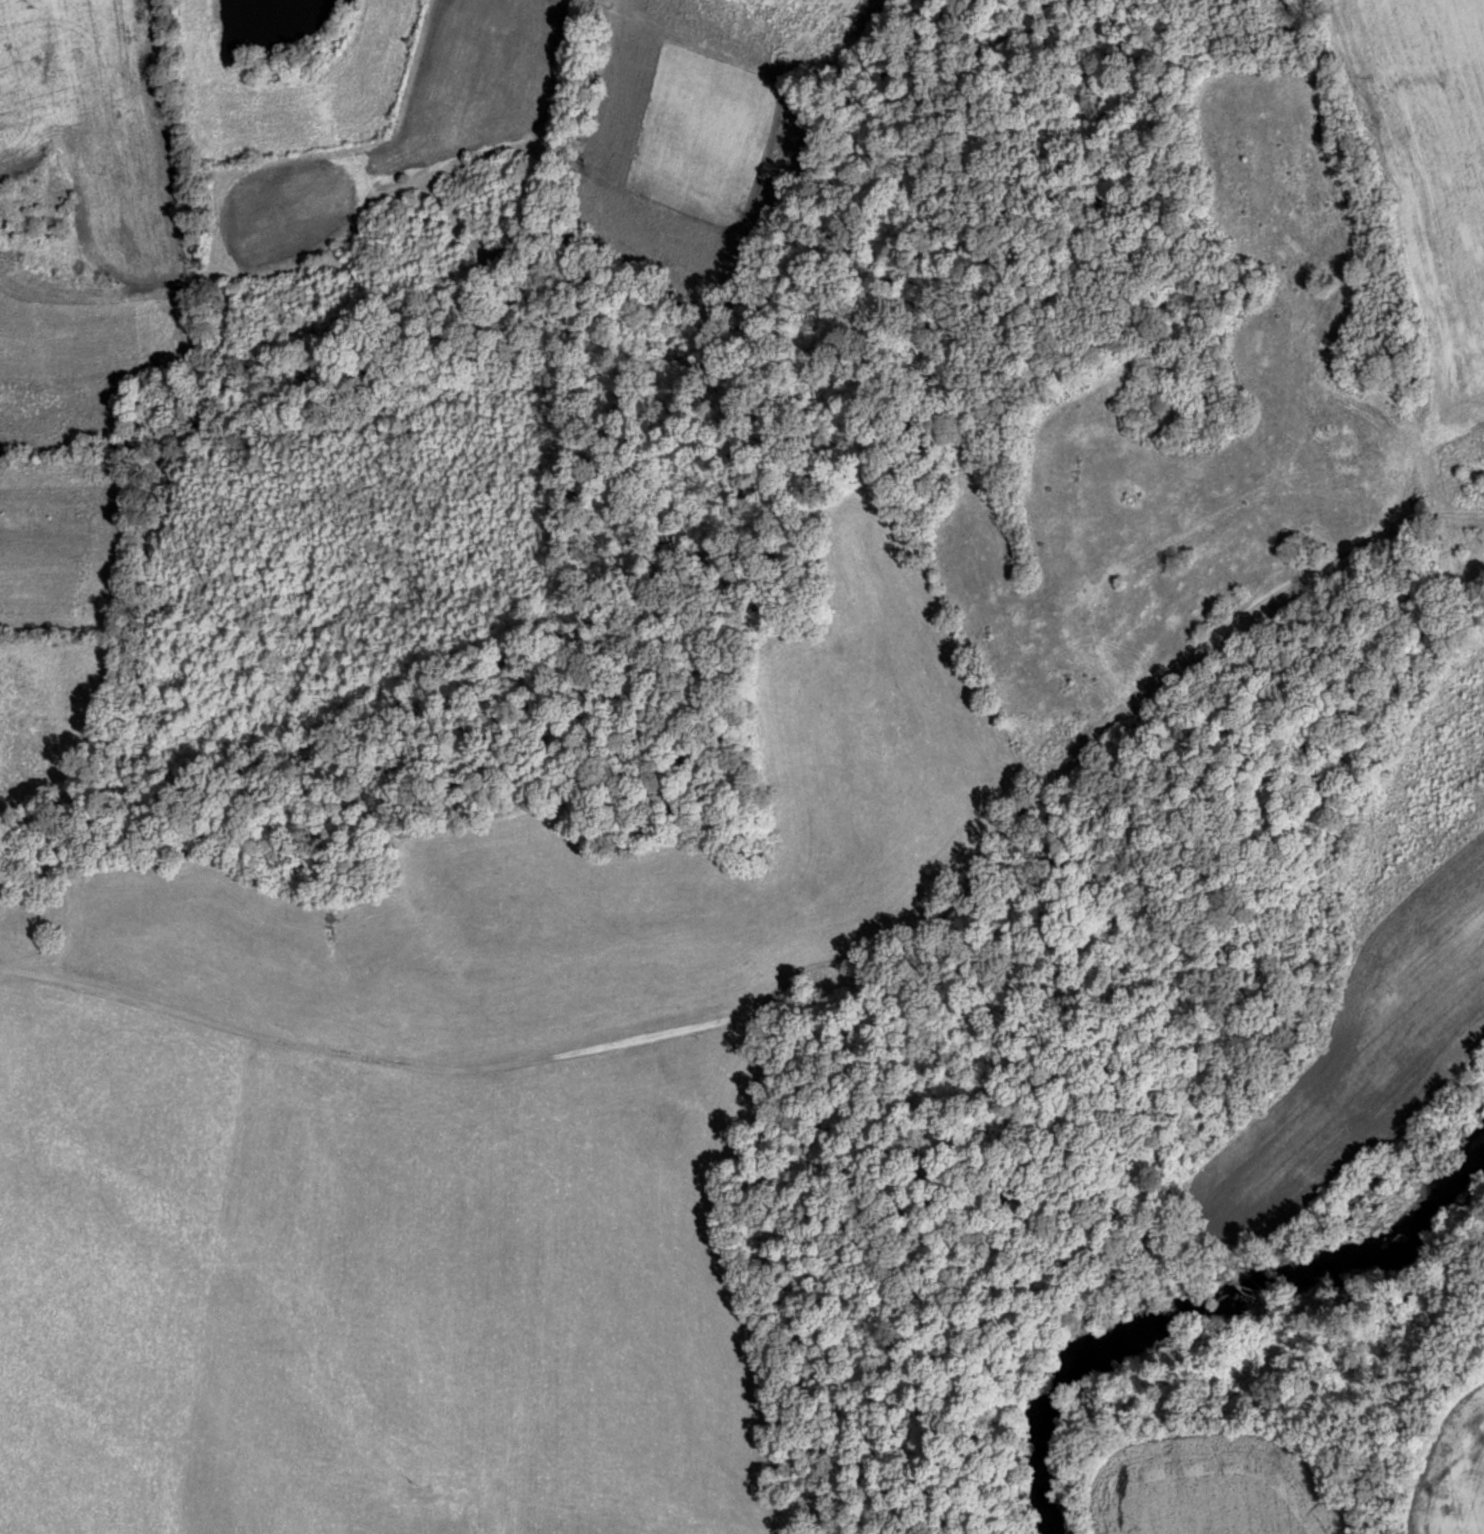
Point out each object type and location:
road: (830, 968)
river: (1212, 1292)

